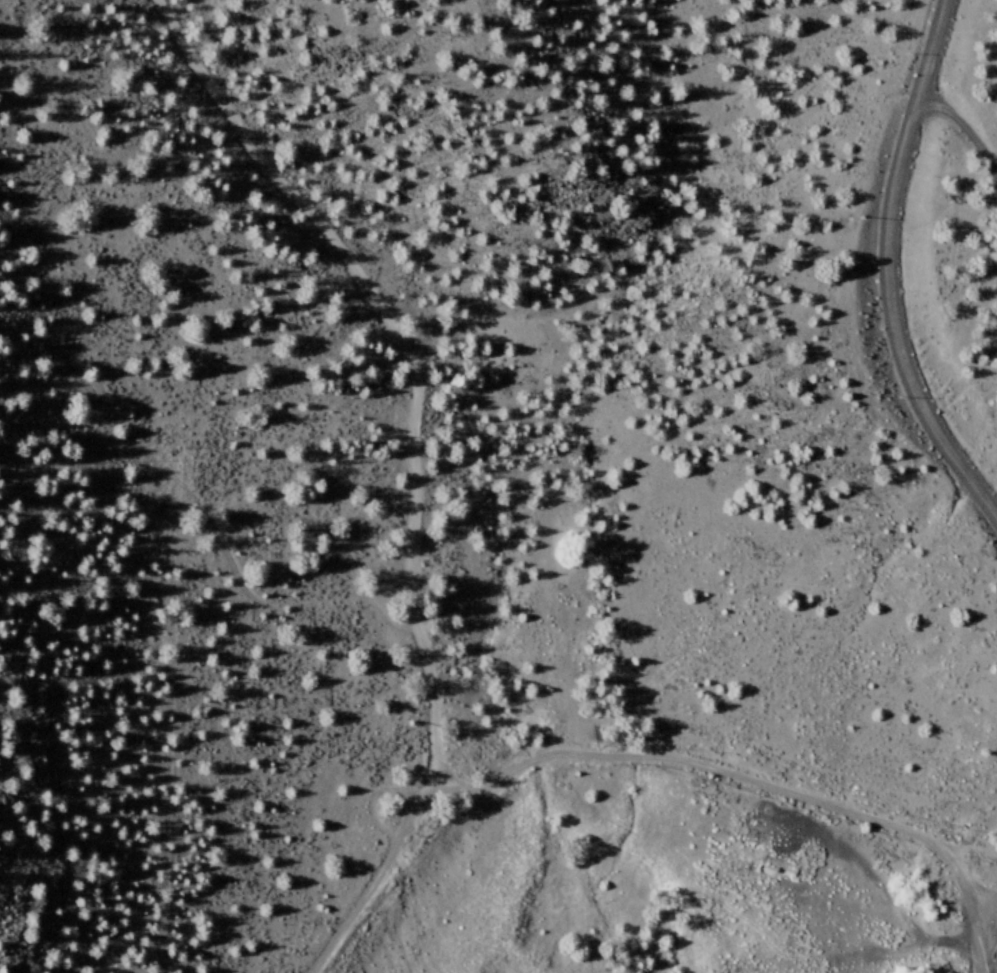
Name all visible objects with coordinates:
road: (885, 273)
road: (406, 359)
road: (208, 501)
road: (648, 757)

